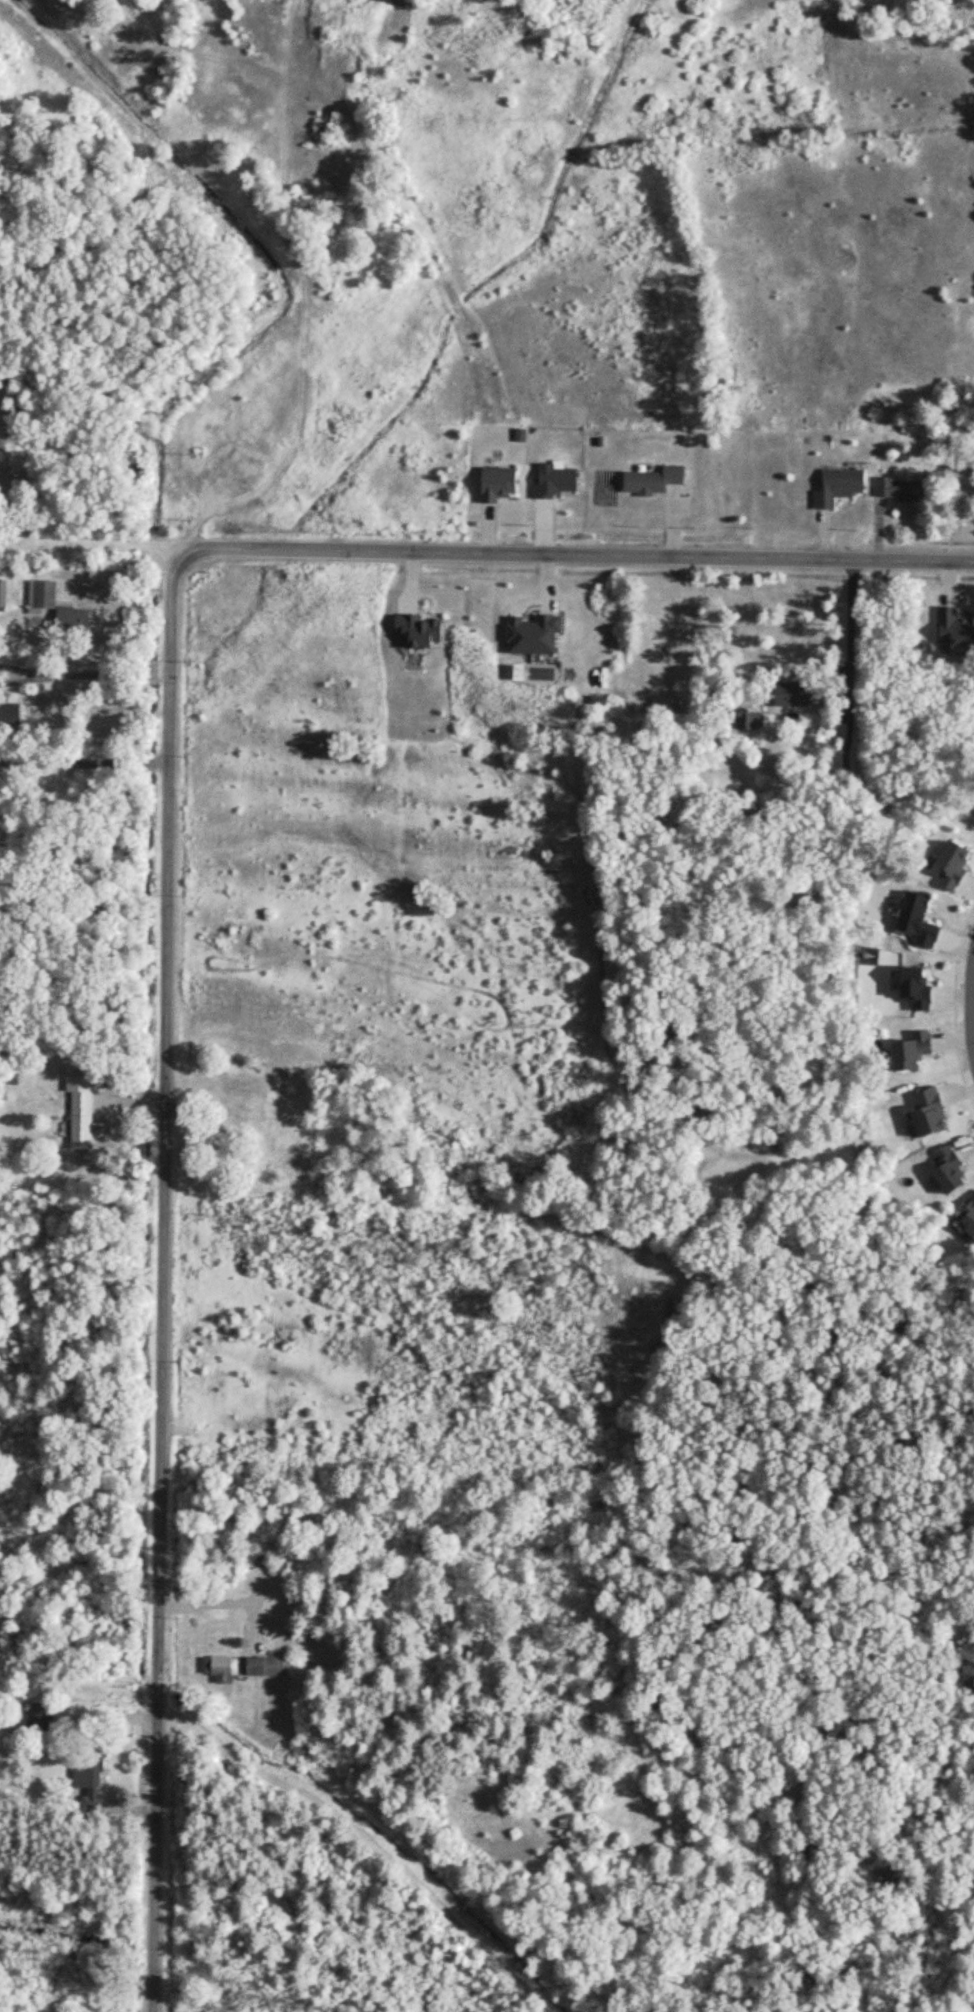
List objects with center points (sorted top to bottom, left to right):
road: (456, 24)
road: (399, 207)
road: (285, 229)
road: (373, 330)
building: (656, 481)
building: (503, 484)
building: (843, 487)
building: (906, 490)
road: (97, 550)
road: (579, 555)
building: (45, 597)
building: (78, 619)
road: (853, 631)
road: (86, 670)
building: (797, 695)
building: (13, 713)
building: (753, 717)
road: (85, 760)
building: (240, 1117)
building: (86, 1121)
road: (163, 1282)
building: (268, 1667)
building: (227, 1669)
building: (44, 1716)
building: (93, 1779)
road: (365, 1839)

